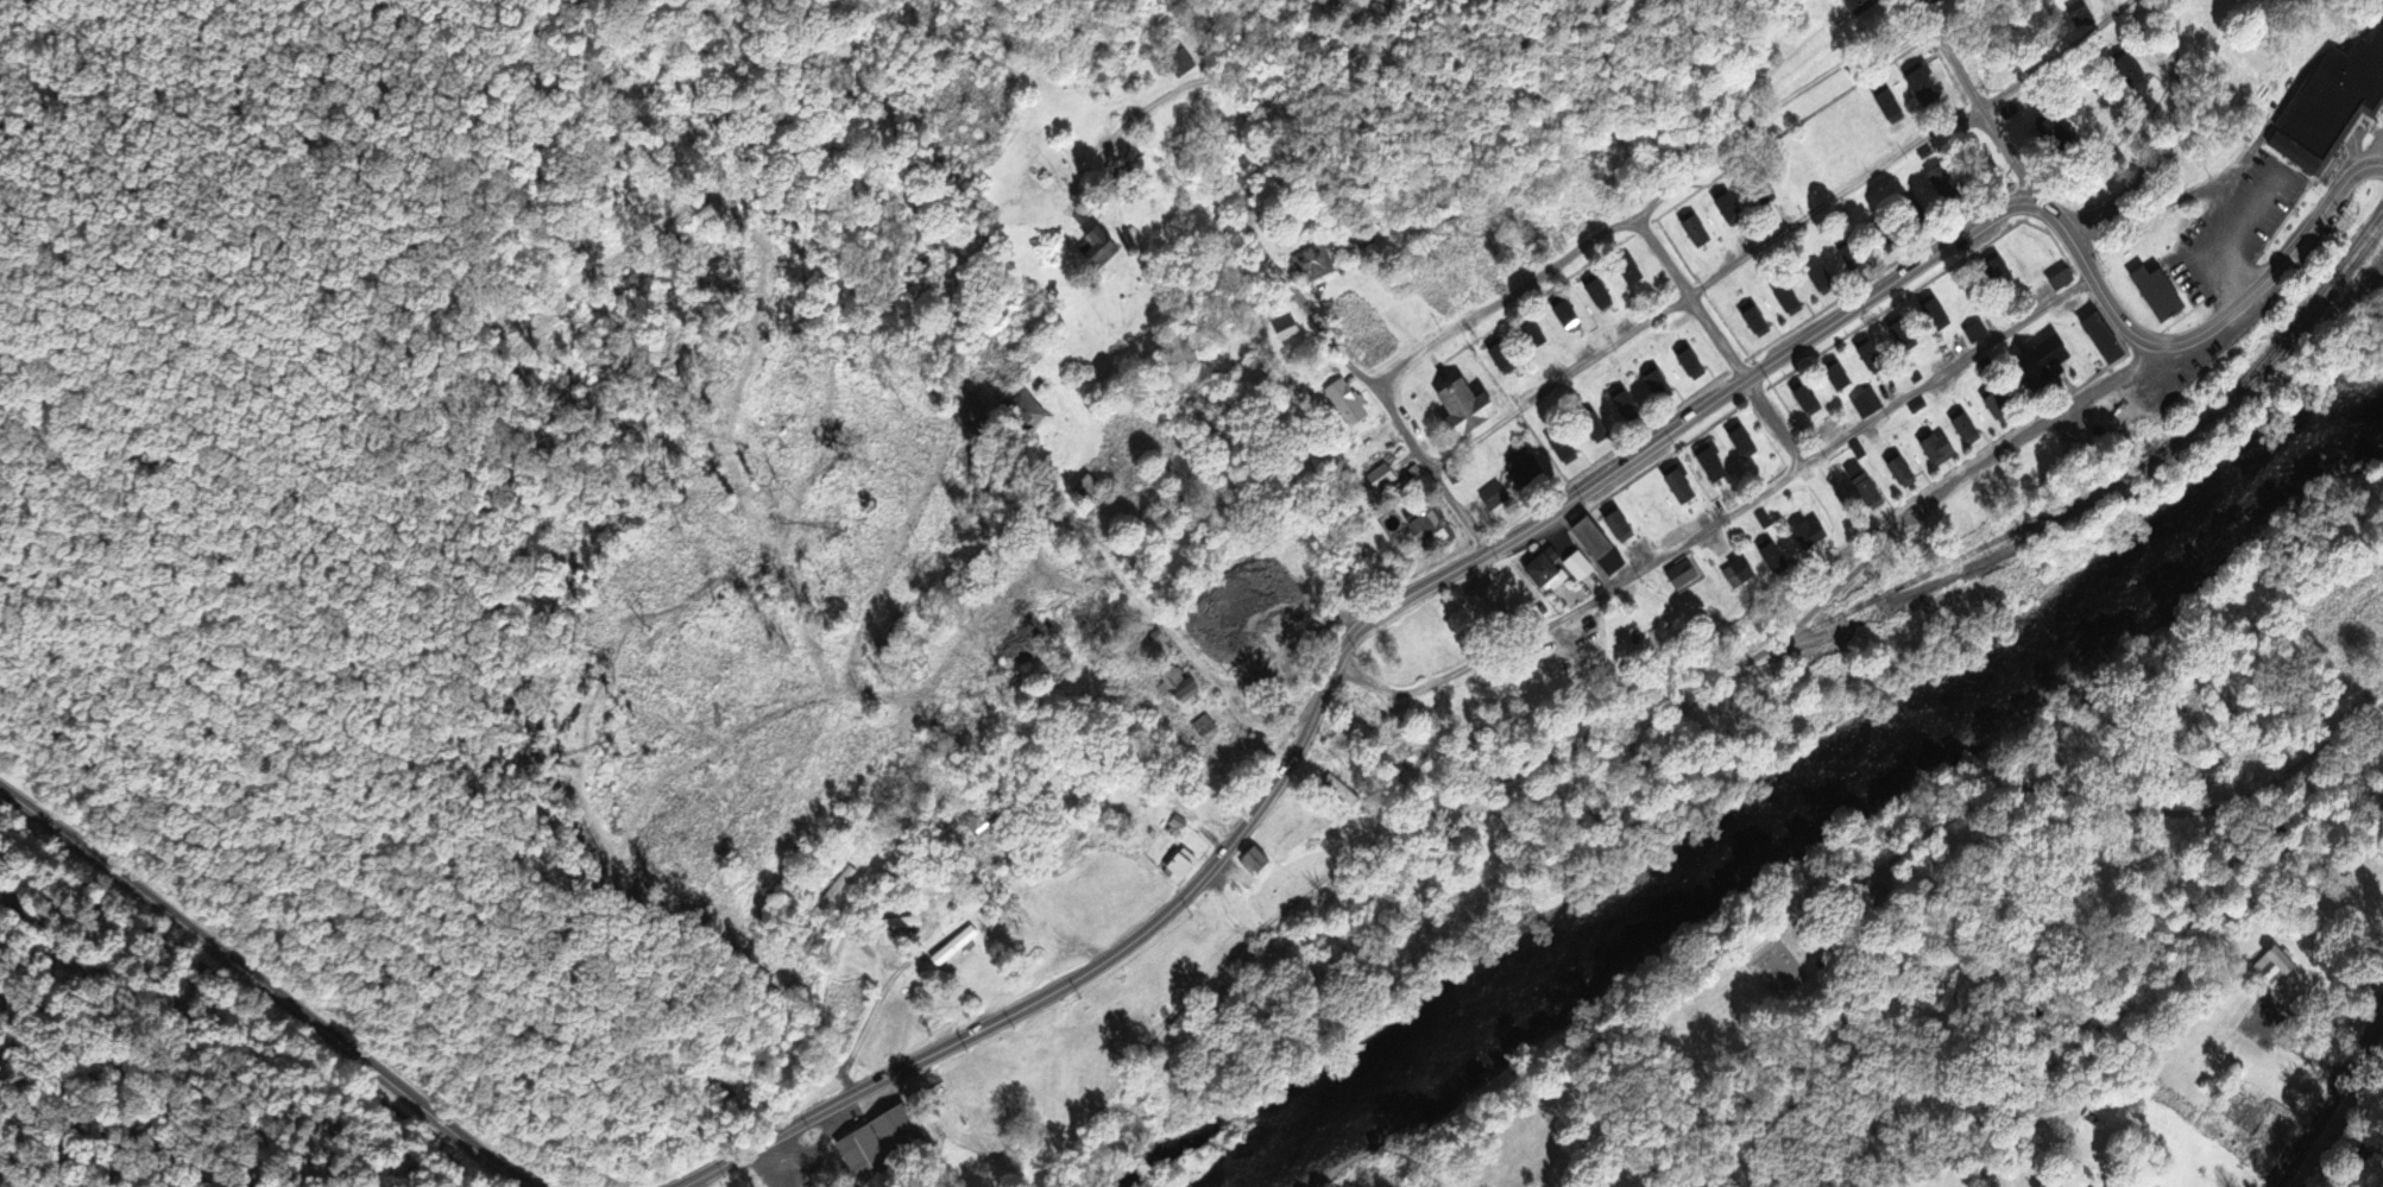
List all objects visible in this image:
building: (1859, 4)
building: (2082, 13)
building: (1183, 63)
building: (2137, 72)
building: (1925, 83)
road: (1980, 106)
building: (1893, 108)
building: (2331, 108)
building: (2060, 133)
road: (2158, 137)
road: (2377, 158)
building: (1946, 182)
building: (1765, 185)
road: (1654, 204)
building: (1728, 208)
building: (1916, 214)
building: (1695, 231)
road: (1779, 236)
building: (1885, 236)
building: (1102, 250)
building: (1851, 254)
building: (1316, 265)
road: (2281, 265)
building: (1632, 272)
building: (2005, 274)
road: (1272, 277)
building: (1822, 279)
building: (2064, 279)
road: (2094, 280)
building: (2161, 293)
building: (1602, 295)
building: (1789, 301)
railway: (2306, 309)
building: (1570, 314)
building: (1937, 315)
building: (1757, 321)
building: (1288, 327)
building: (1978, 330)
building: (1906, 333)
building: (1534, 335)
building: (2105, 337)
road: (1719, 346)
building: (1873, 354)
building: (1503, 356)
building: (1690, 359)
building: (2042, 366)
building: (1839, 379)
building: (1658, 380)
building: (1805, 399)
building: (1347, 404)
building: (1624, 404)
building: (2004, 404)
building: (1917, 406)
building: (1469, 410)
building: (1025, 413)
building: (1594, 425)
building: (1969, 429)
building: (1383, 434)
building: (1744, 441)
road: (1656, 444)
building: (1563, 447)
road: (2013, 447)
building: (1937, 448)
building: (1711, 465)
building: (1528, 468)
building: (1900, 468)
building: (1382, 476)
building: (1682, 487)
building: (1867, 487)
railway: (2099, 490)
building: (1086, 491)
building: (1495, 497)
building: (1620, 522)
road: (1722, 523)
building: (1432, 530)
building: (1809, 533)
park: (1841, 539)
building: (1599, 545)
building: (1777, 560)
building: (1580, 567)
building: (1544, 569)
building: (1739, 573)
building: (1685, 575)
building: (1487, 602)
road: (1807, 604)
road: (1171, 637)
building: (1185, 689)
building: (1204, 726)
building: (1344, 794)
river: (1815, 800)
road: (2099, 814)
building: (981, 817)
building: (1255, 863)
building: (1178, 864)
road: (1358, 871)
building: (1080, 878)
building: (839, 884)
road: (826, 920)
building: (903, 924)
road: (683, 928)
building: (956, 946)
building: (2280, 960)
building: (1826, 962)
road: (269, 992)
road: (1034, 998)
road: (2359, 1010)
road: (2334, 1099)
building: (901, 1136)
building: (865, 1156)

